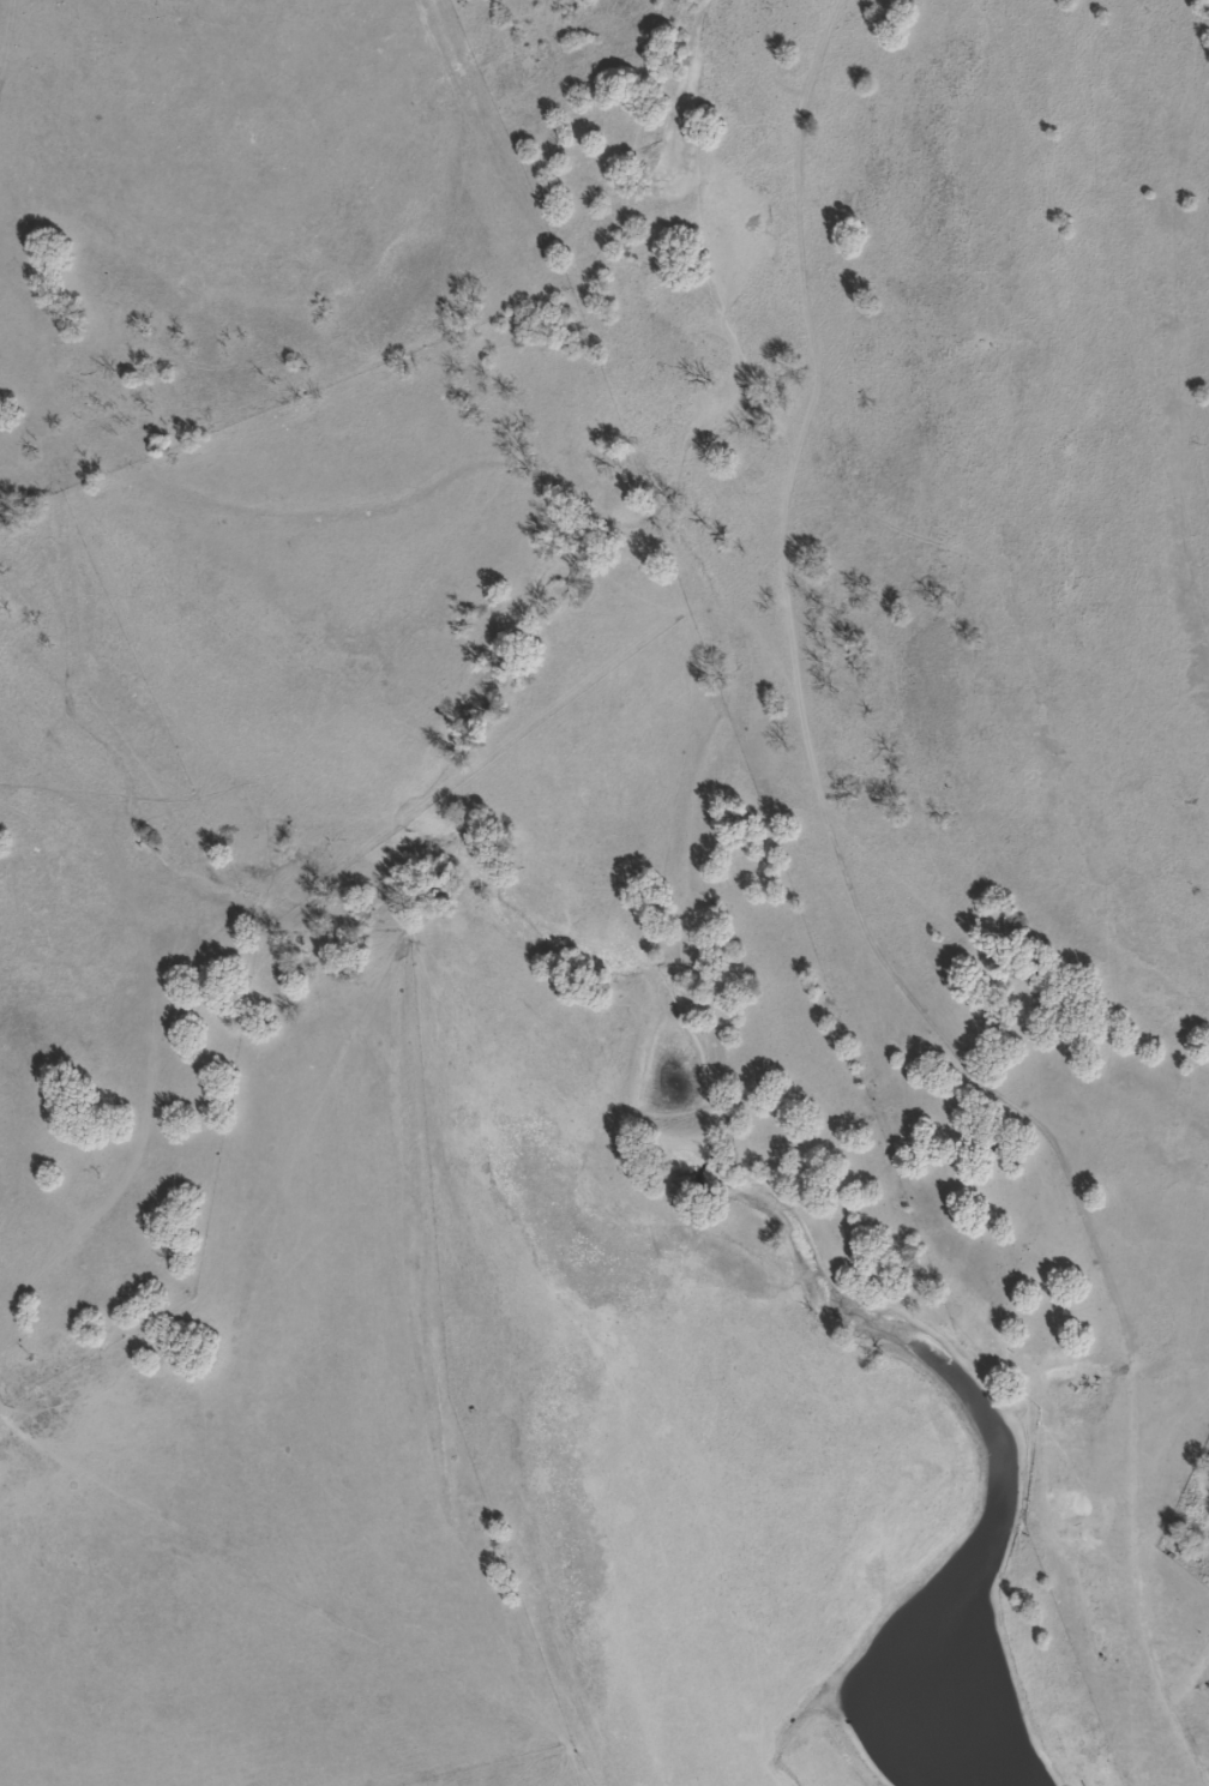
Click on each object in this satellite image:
building: (1207, 1468)

